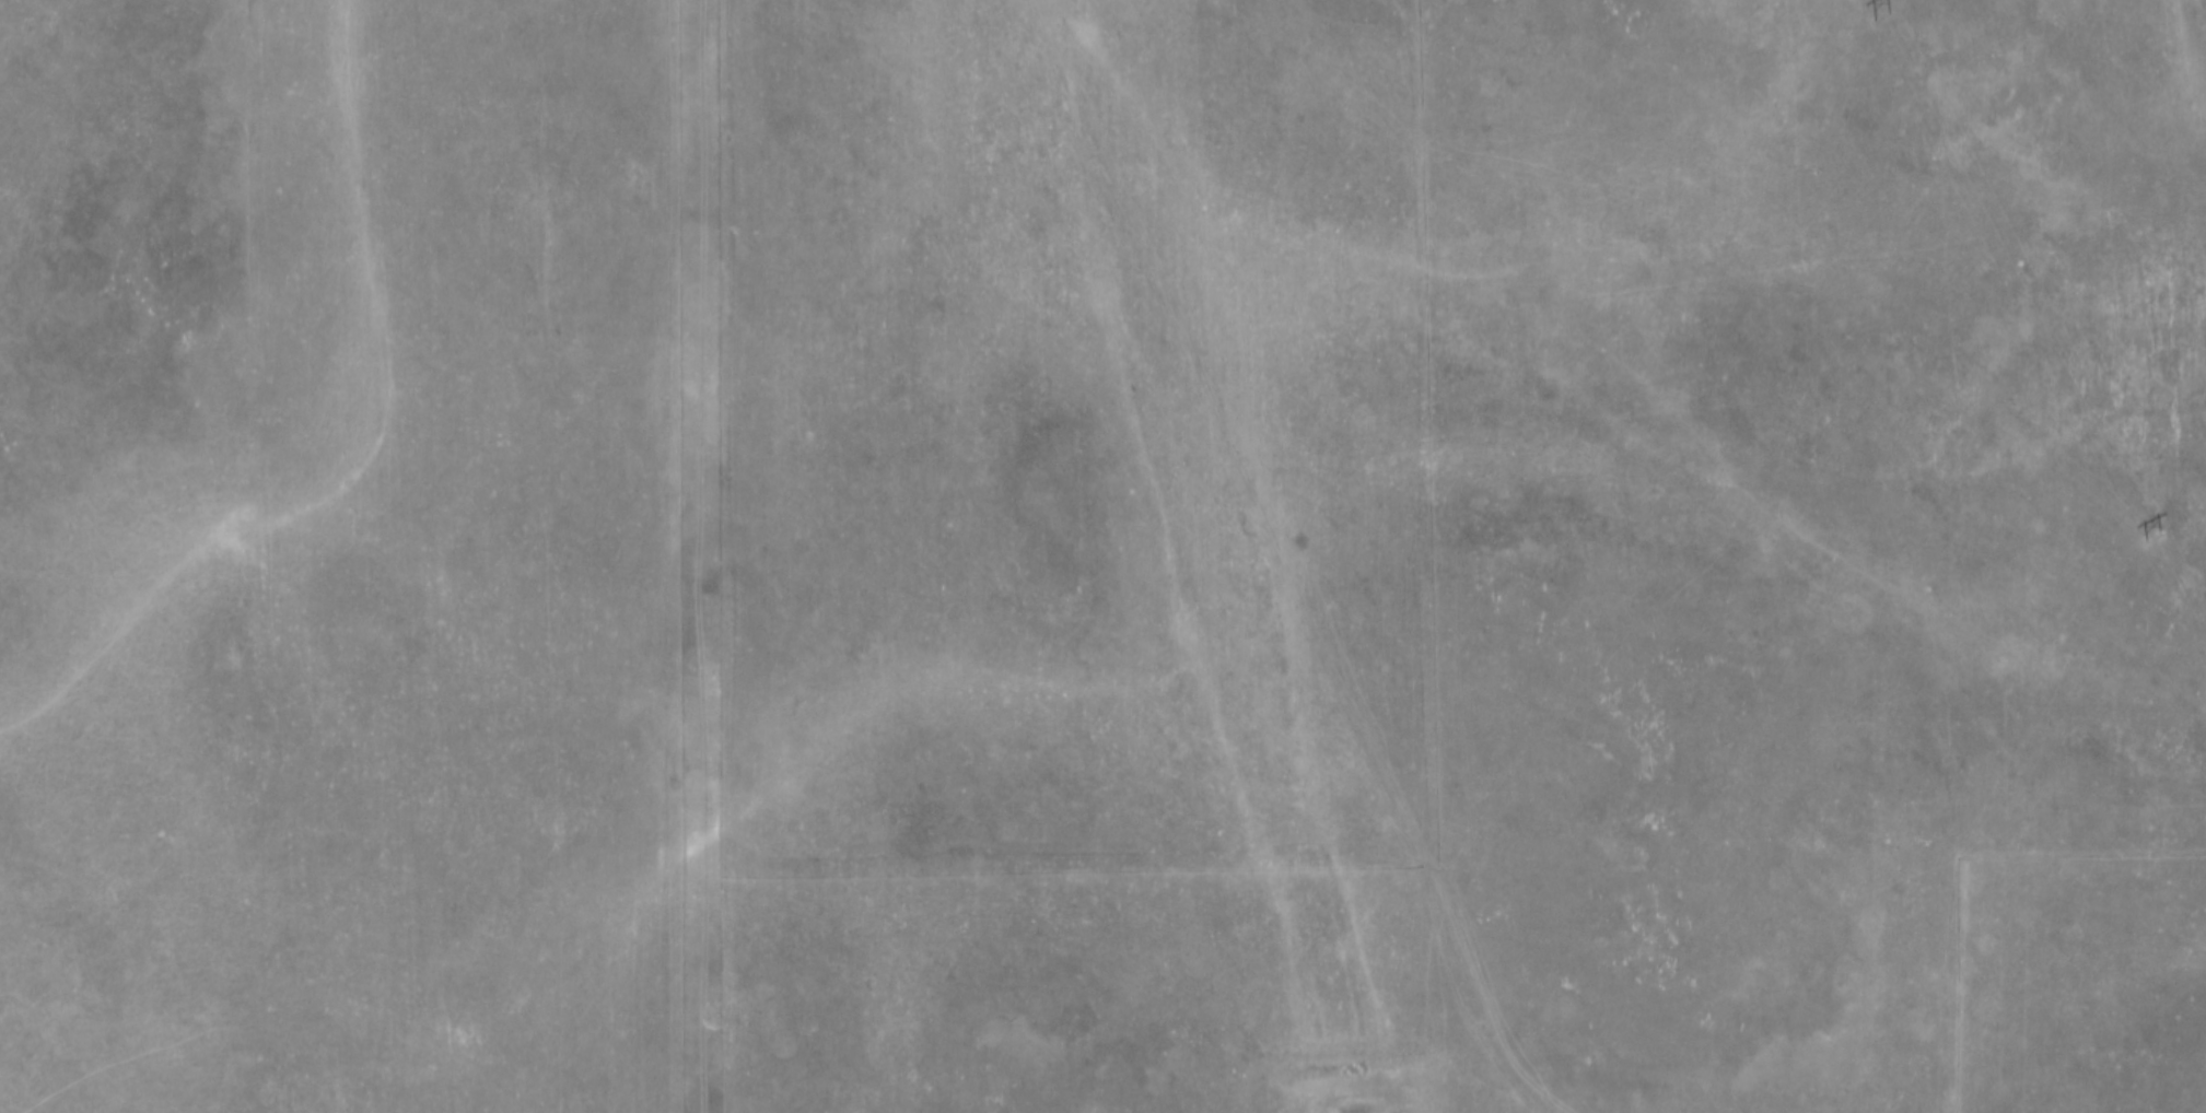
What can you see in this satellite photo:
power tower: (1878, 17)
power tower: (2149, 538)

